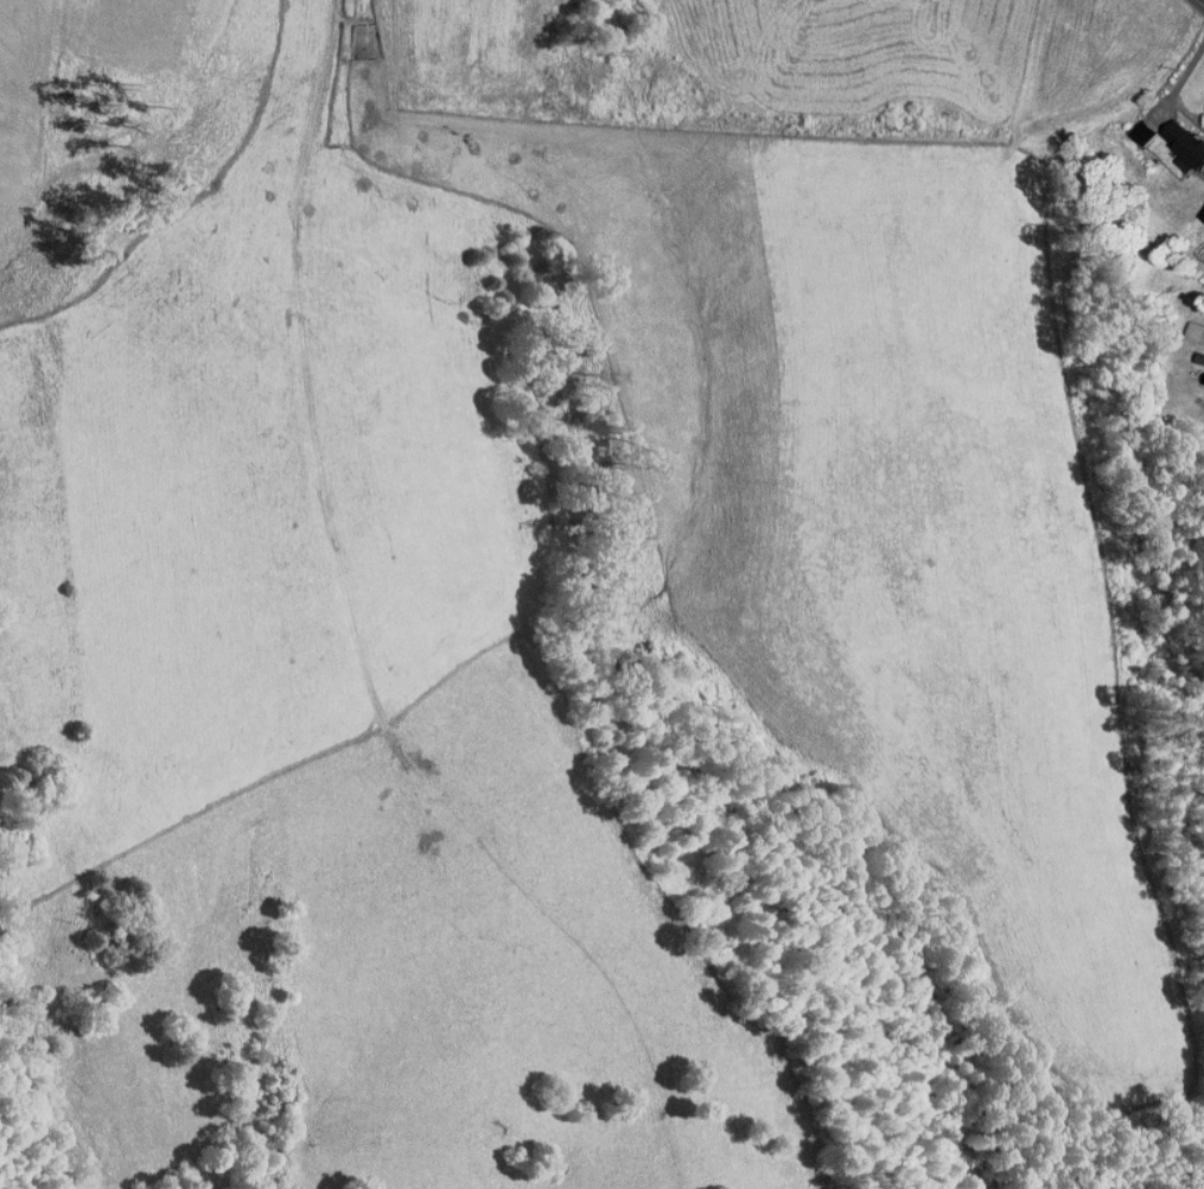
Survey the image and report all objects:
road: (1202, 1)
building: (1133, 125)
building: (1180, 142)
building: (1197, 205)
building: (1195, 352)

